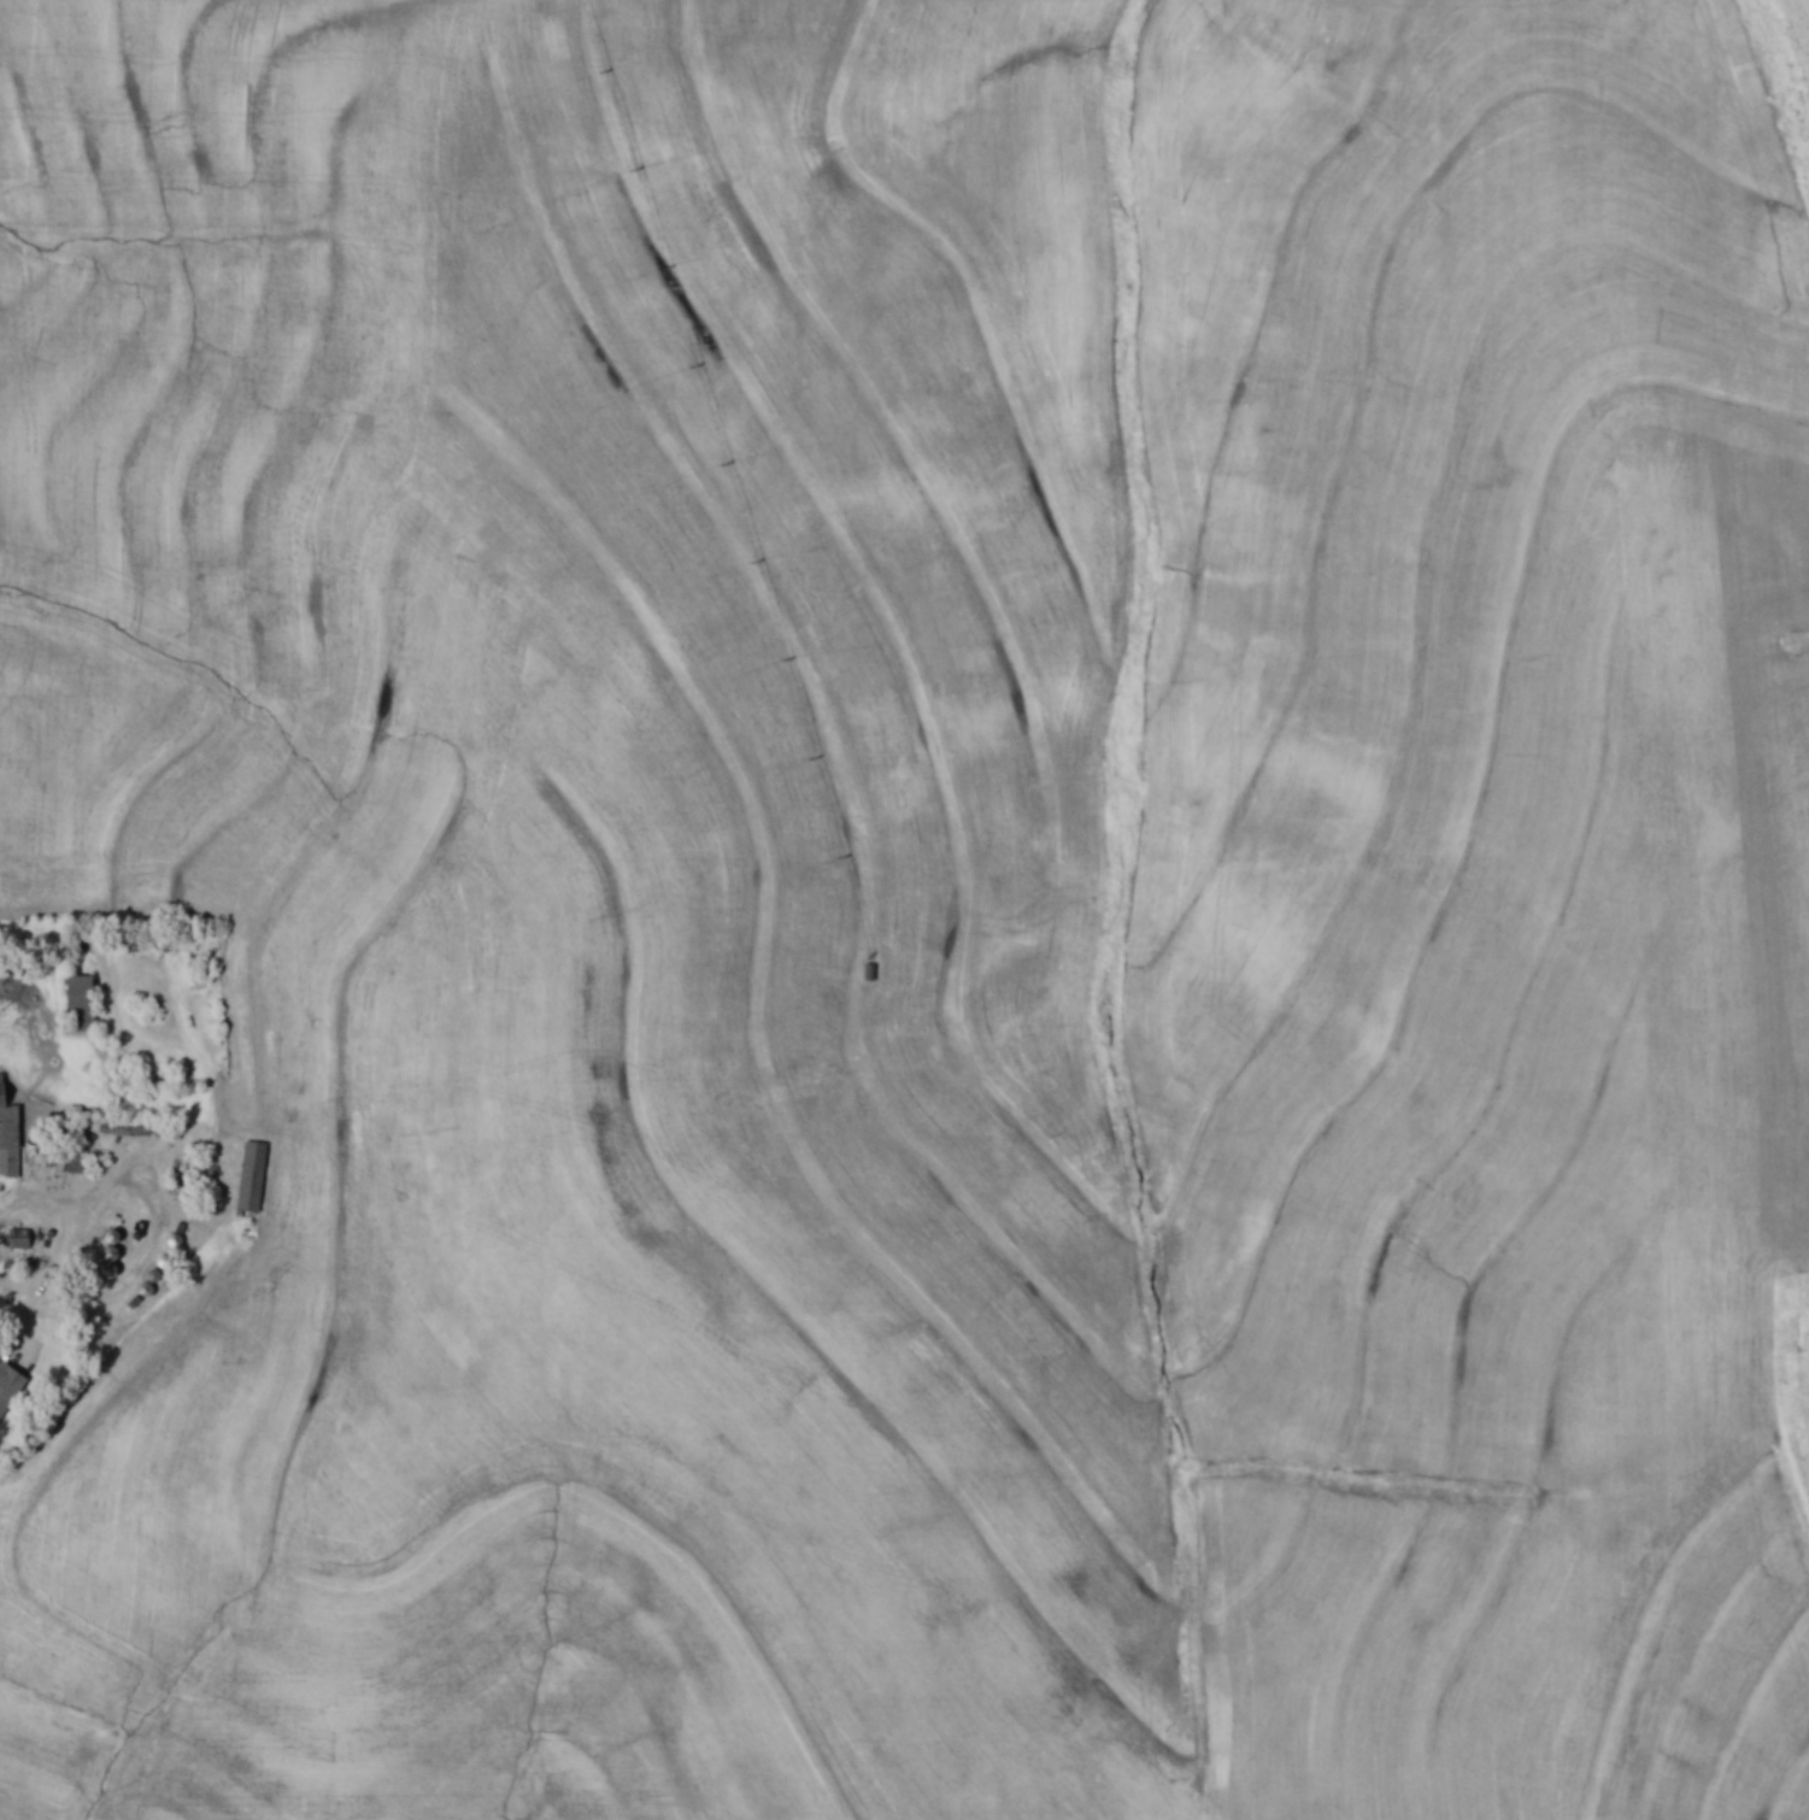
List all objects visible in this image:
building: (83, 1003)
building: (10, 1133)
building: (80, 1163)
building: (253, 1175)
road: (166, 1209)
building: (112, 1261)
road: (11, 1313)
building: (10, 1386)

